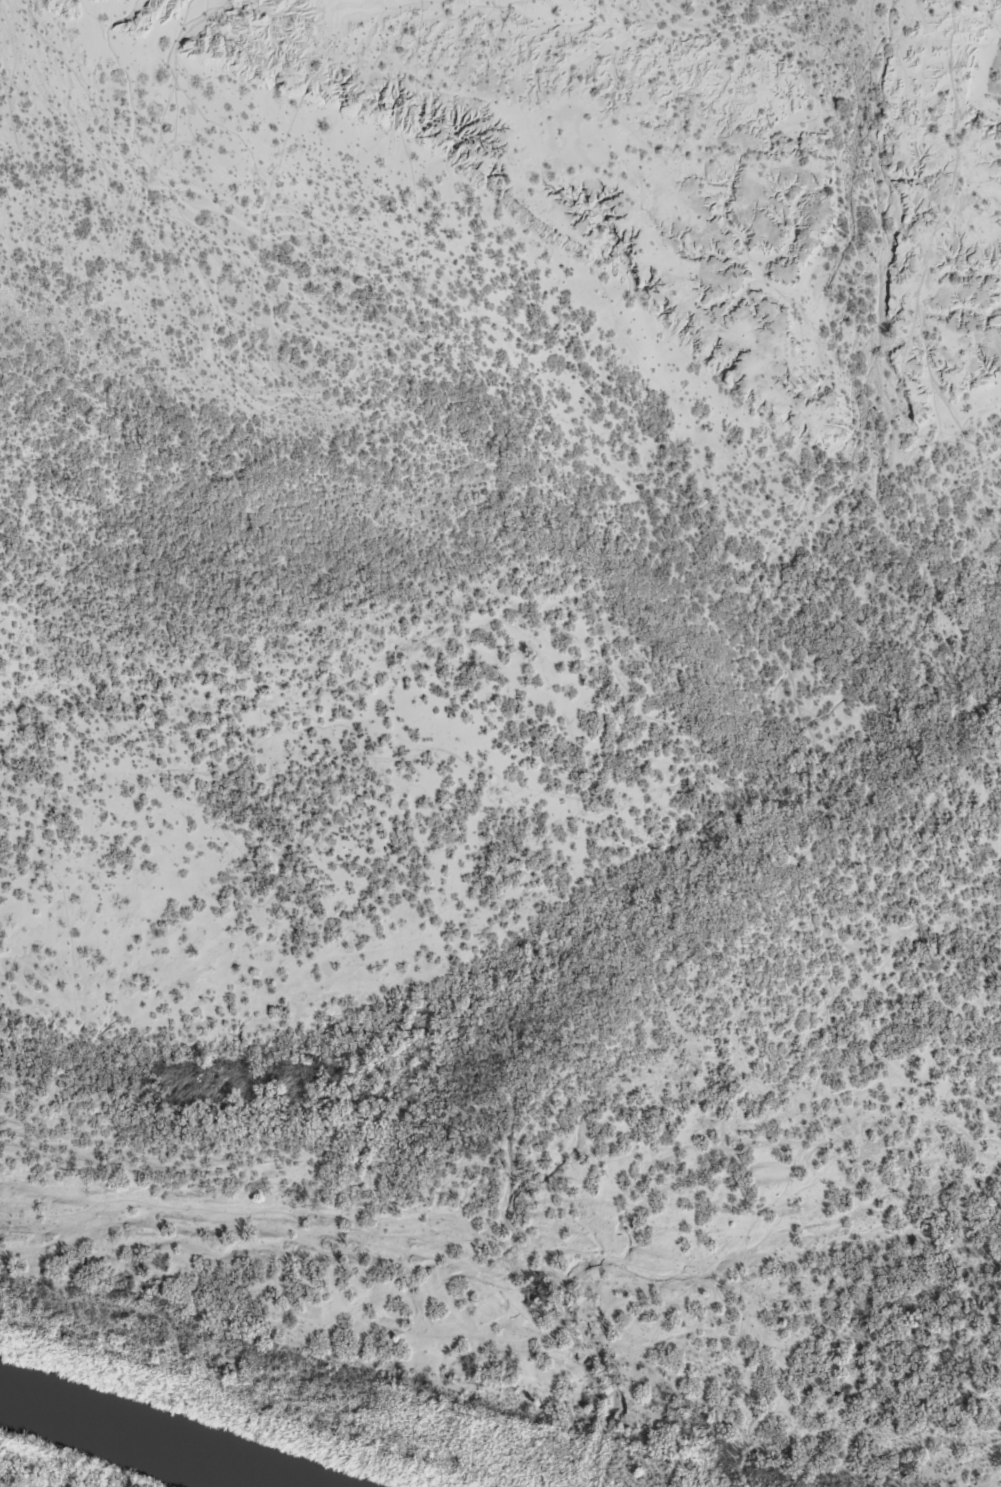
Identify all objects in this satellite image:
river: (145, 1435)

